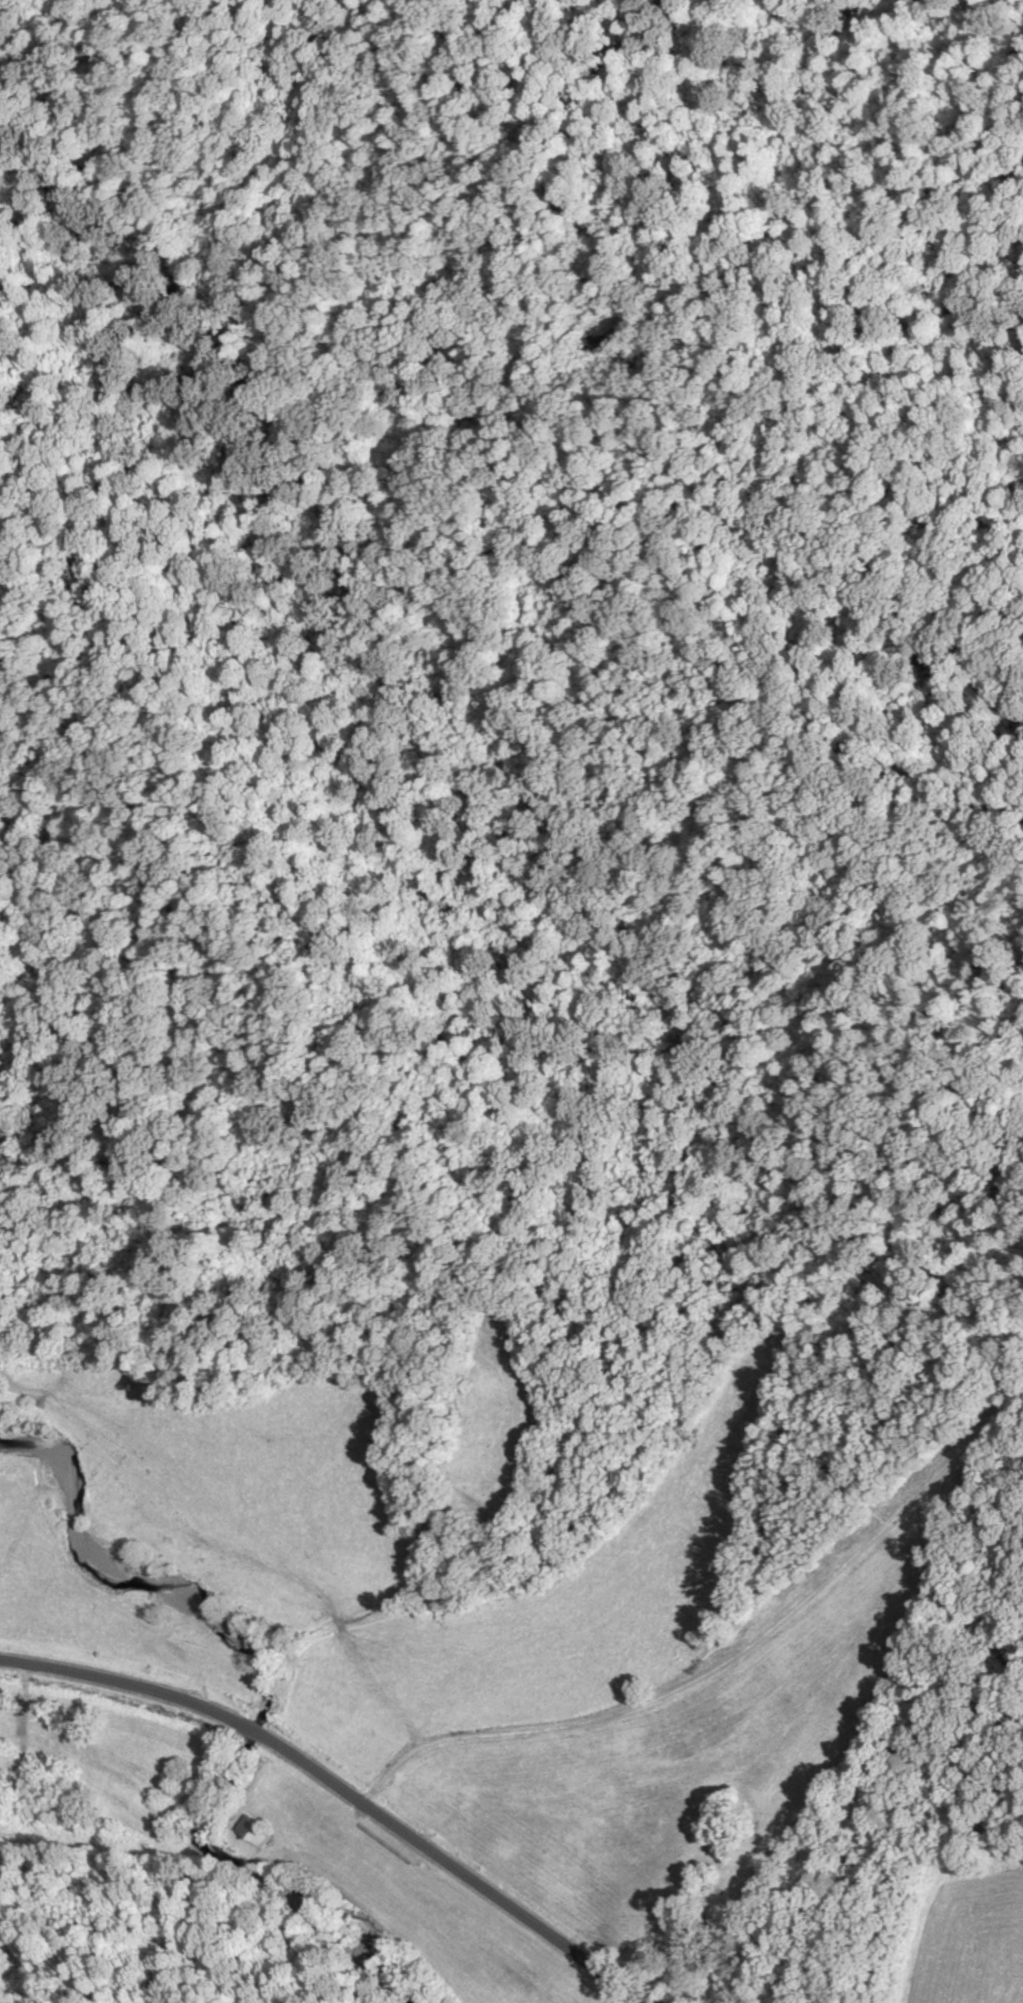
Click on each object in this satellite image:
road: (336, 1785)
building: (253, 1831)

